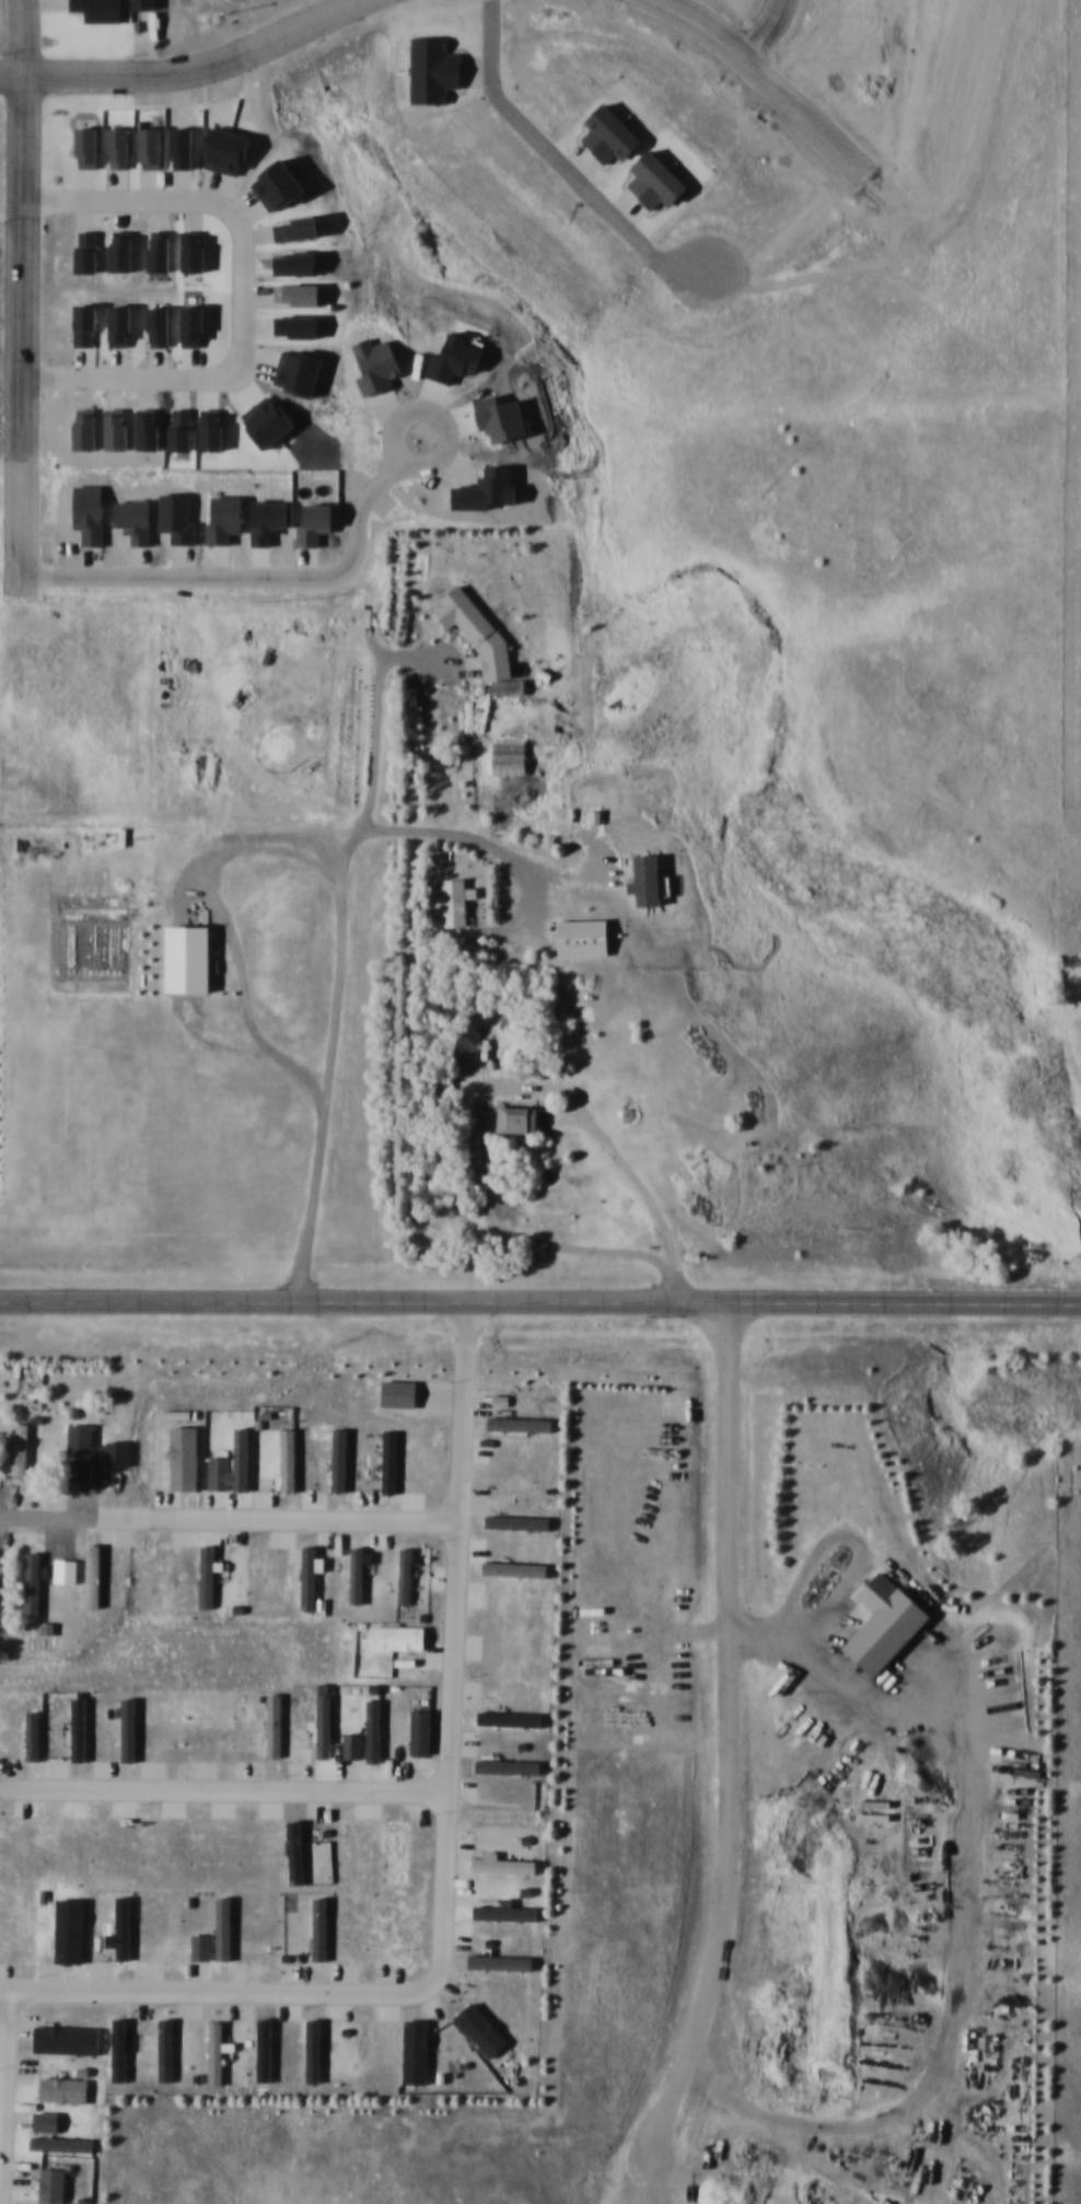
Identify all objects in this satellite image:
road: (174, 63)
road: (554, 155)
road: (9, 228)
road: (232, 287)
building: (503, 685)
building: (504, 756)
road: (484, 838)
building: (640, 879)
building: (446, 900)
road: (346, 917)
road: (252, 929)
building: (577, 937)
building: (182, 958)
road: (498, 1089)
building: (512, 1118)
road: (540, 1299)
building: (22, 1450)
building: (82, 1455)
road: (43, 1511)
road: (265, 1515)
building: (34, 1577)
building: (45, 1627)
road: (439, 1640)
road: (716, 1759)
road: (217, 1784)
road: (208, 1985)

